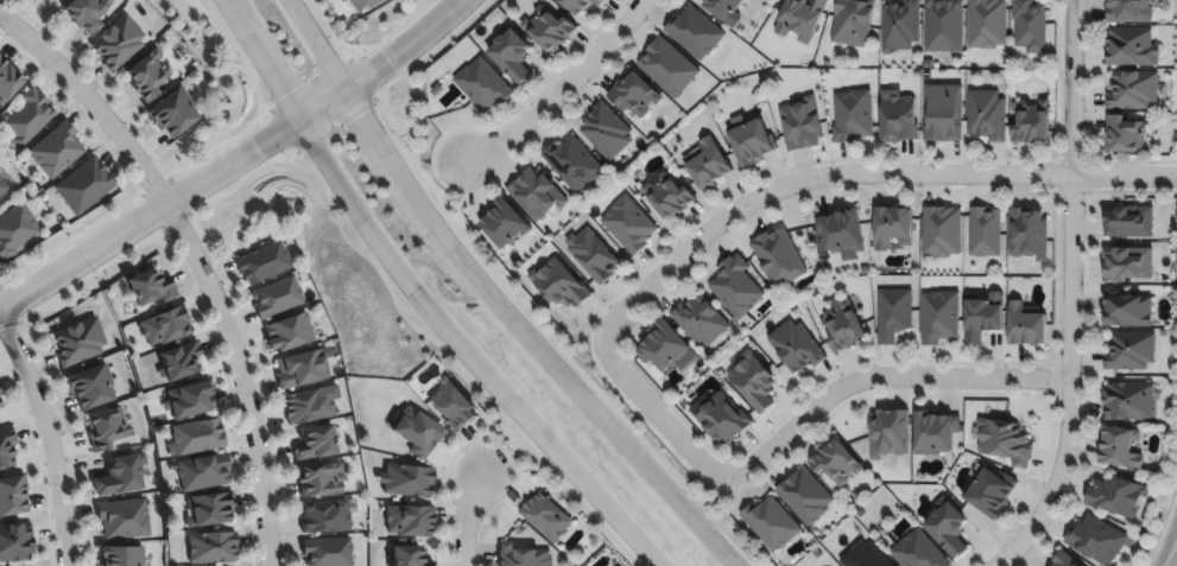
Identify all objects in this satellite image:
building: (34, 0)
building: (346, 0)
building: (368, 4)
building: (580, 5)
building: (726, 9)
building: (1131, 11)
building: (88, 13)
building: (802, 18)
building: (853, 23)
building: (988, 23)
building: (1030, 25)
building: (900, 26)
building: (944, 26)
building: (550, 32)
building: (696, 33)
building: (119, 44)
building: (1132, 47)
road: (406, 50)
building: (512, 56)
building: (670, 68)
building: (148, 75)
building: (8, 82)
building: (483, 85)
road: (565, 90)
building: (1134, 90)
building: (634, 95)
road: (322, 108)
building: (173, 114)
building: (987, 115)
building: (853, 116)
building: (944, 116)
building: (29, 117)
building: (899, 117)
building: (1032, 122)
building: (802, 123)
building: (606, 131)
building: (1125, 134)
building: (753, 144)
building: (57, 151)
building: (574, 165)
building: (710, 166)
road: (862, 178)
building: (84, 186)
building: (2, 187)
building: (537, 195)
building: (669, 195)
road: (150, 216)
building: (1132, 223)
building: (505, 224)
building: (629, 225)
building: (893, 229)
building: (17, 230)
building: (842, 231)
building: (942, 233)
building: (986, 233)
building: (1030, 234)
building: (594, 256)
building: (779, 259)
road: (197, 262)
building: (264, 263)
building: (1129, 266)
building: (559, 284)
building: (152, 288)
building: (736, 288)
road: (1071, 294)
building: (277, 298)
road: (491, 298)
road: (416, 300)
building: (1128, 312)
building: (894, 314)
building: (941, 318)
building: (983, 318)
building: (702, 320)
building: (166, 326)
building: (1026, 326)
building: (846, 327)
building: (290, 332)
building: (80, 342)
building: (797, 348)
building: (667, 350)
building: (1131, 351)
building: (181, 362)
building: (303, 370)
building: (753, 381)
building: (94, 387)
building: (191, 401)
building: (1131, 401)
building: (0, 403)
building: (453, 406)
building: (309, 407)
building: (722, 419)
road: (801, 421)
building: (109, 428)
building: (416, 431)
building: (890, 434)
building: (936, 434)
building: (198, 438)
road: (48, 439)
building: (1005, 443)
building: (6, 444)
building: (317, 444)
building: (1121, 450)
building: (836, 464)
building: (204, 473)
building: (122, 477)
building: (405, 479)
building: (319, 481)
building: (13, 492)
building: (991, 492)
building: (806, 497)
building: (1119, 498)
building: (210, 511)
building: (325, 519)
road: (463, 519)
building: (548, 519)
building: (125, 520)
building: (409, 521)
building: (772, 524)
building: (949, 530)
building: (14, 539)
building: (1096, 541)
building: (214, 548)
building: (328, 552)
building: (919, 552)
road: (1171, 555)
building: (122, 557)
building: (407, 557)
building: (521, 557)
building: (866, 557)
building: (1065, 560)
building: (613, 565)

